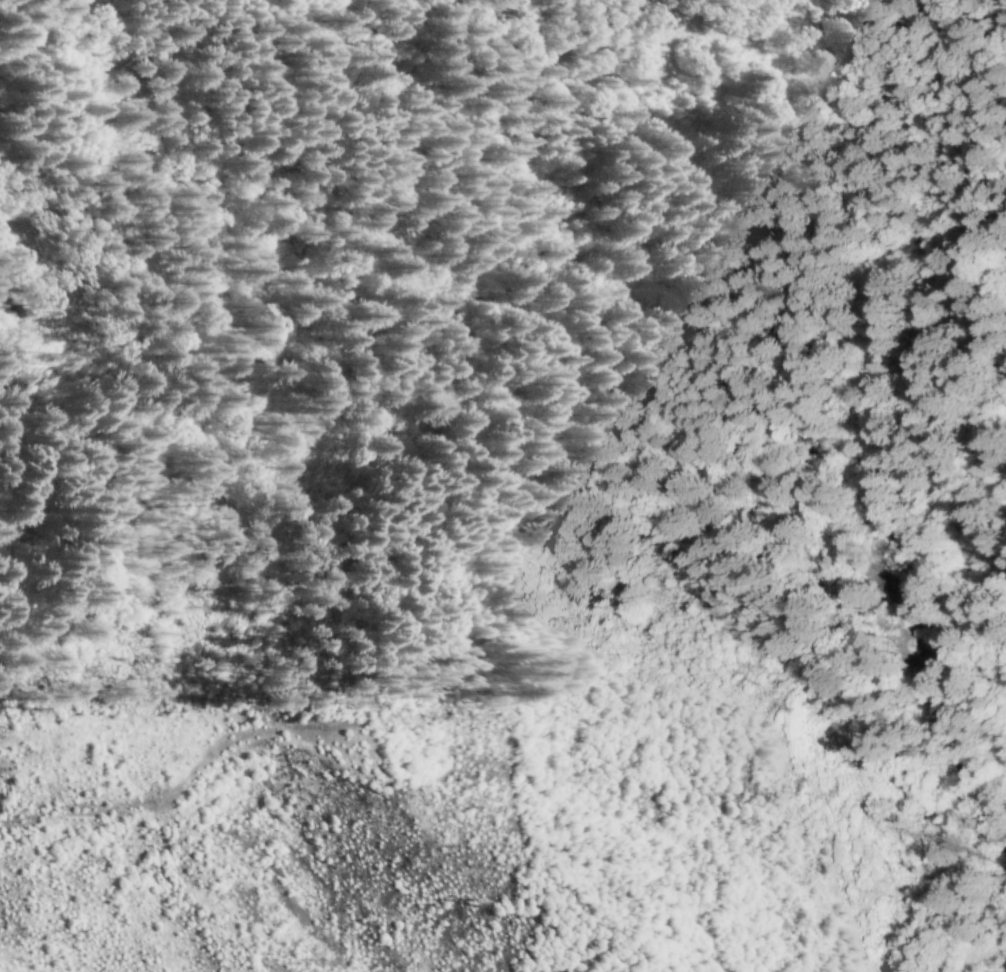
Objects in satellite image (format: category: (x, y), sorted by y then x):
river: (959, 615)

